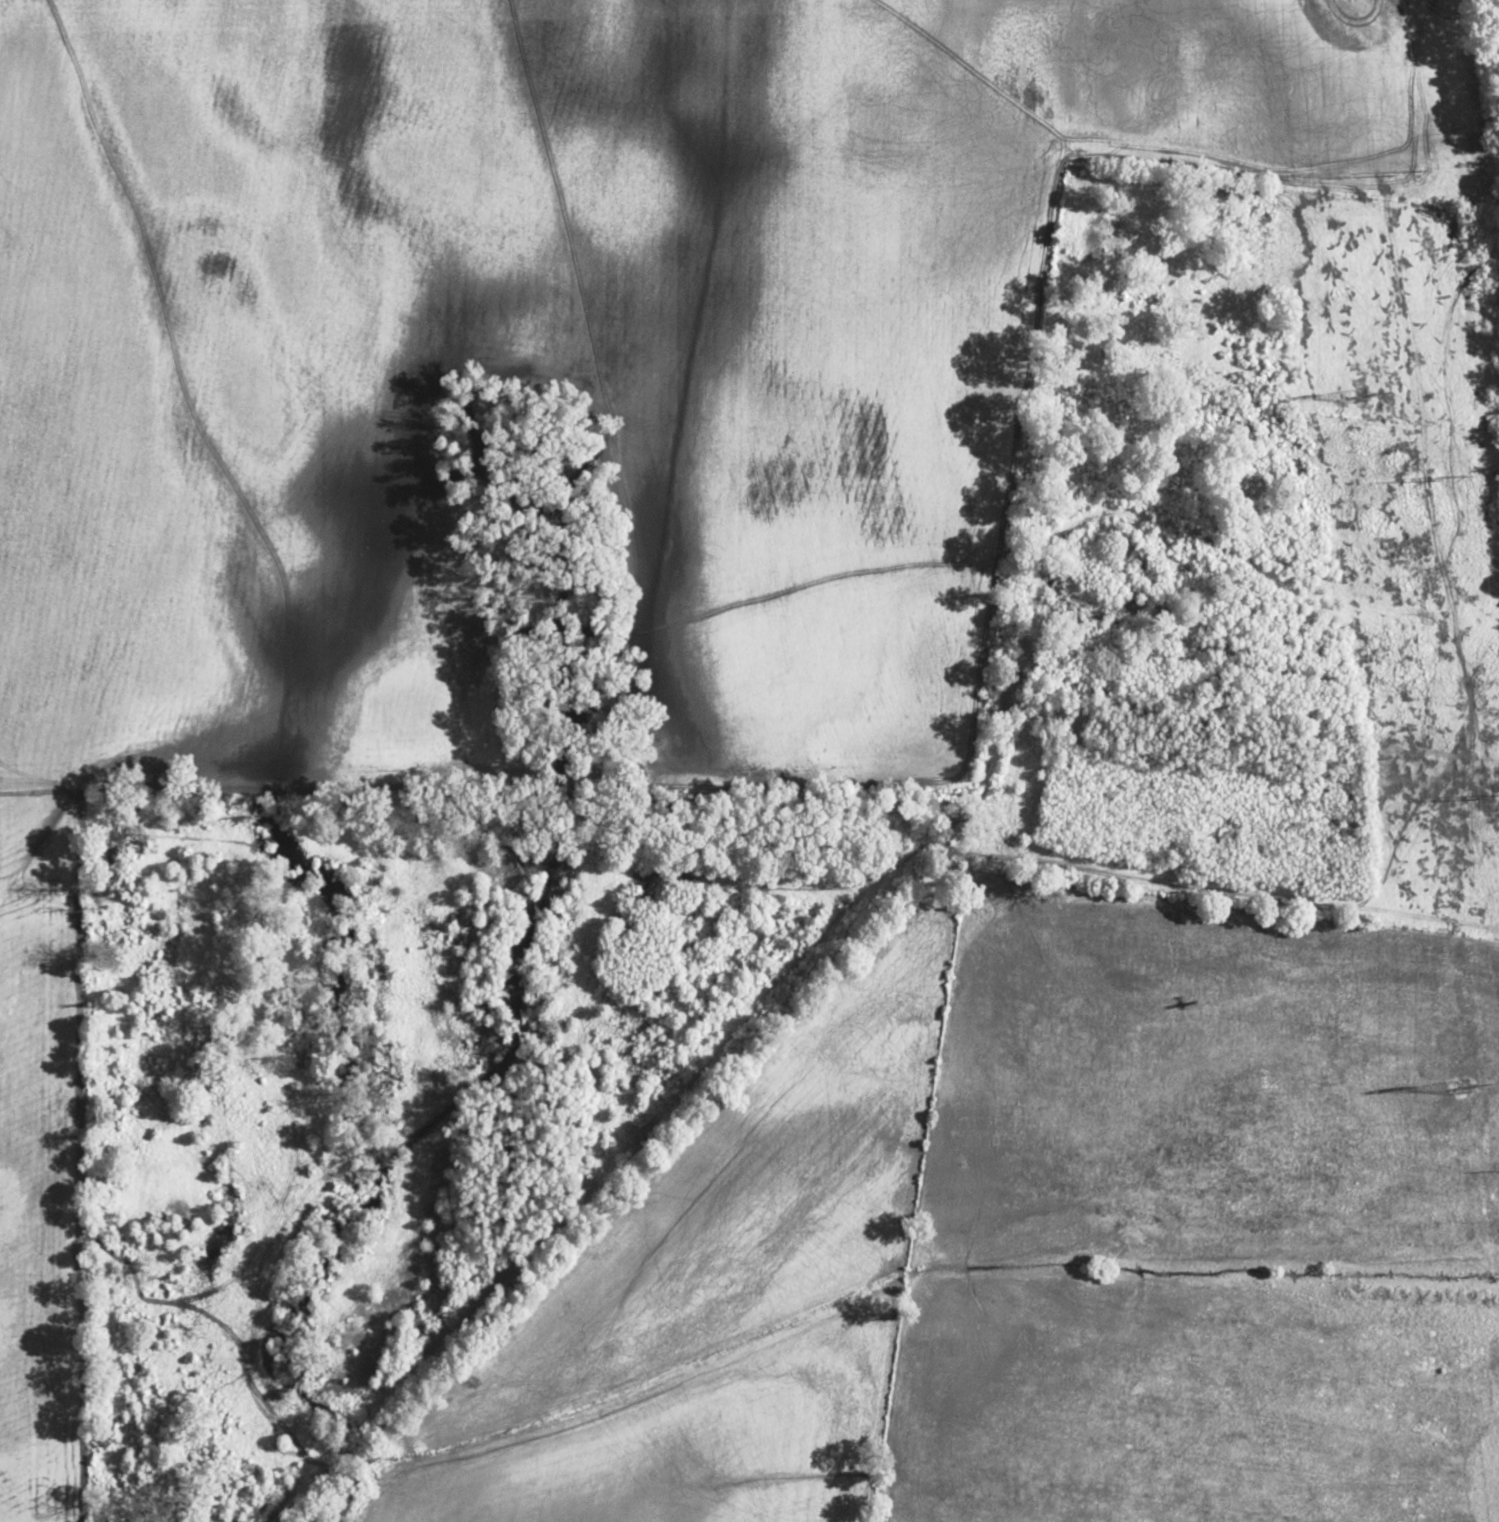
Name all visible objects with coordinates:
power tower: (1401, 175)
power tower: (1362, 396)
power tower: (1446, 479)
power tower: (1492, 797)
power tower: (1461, 1089)

